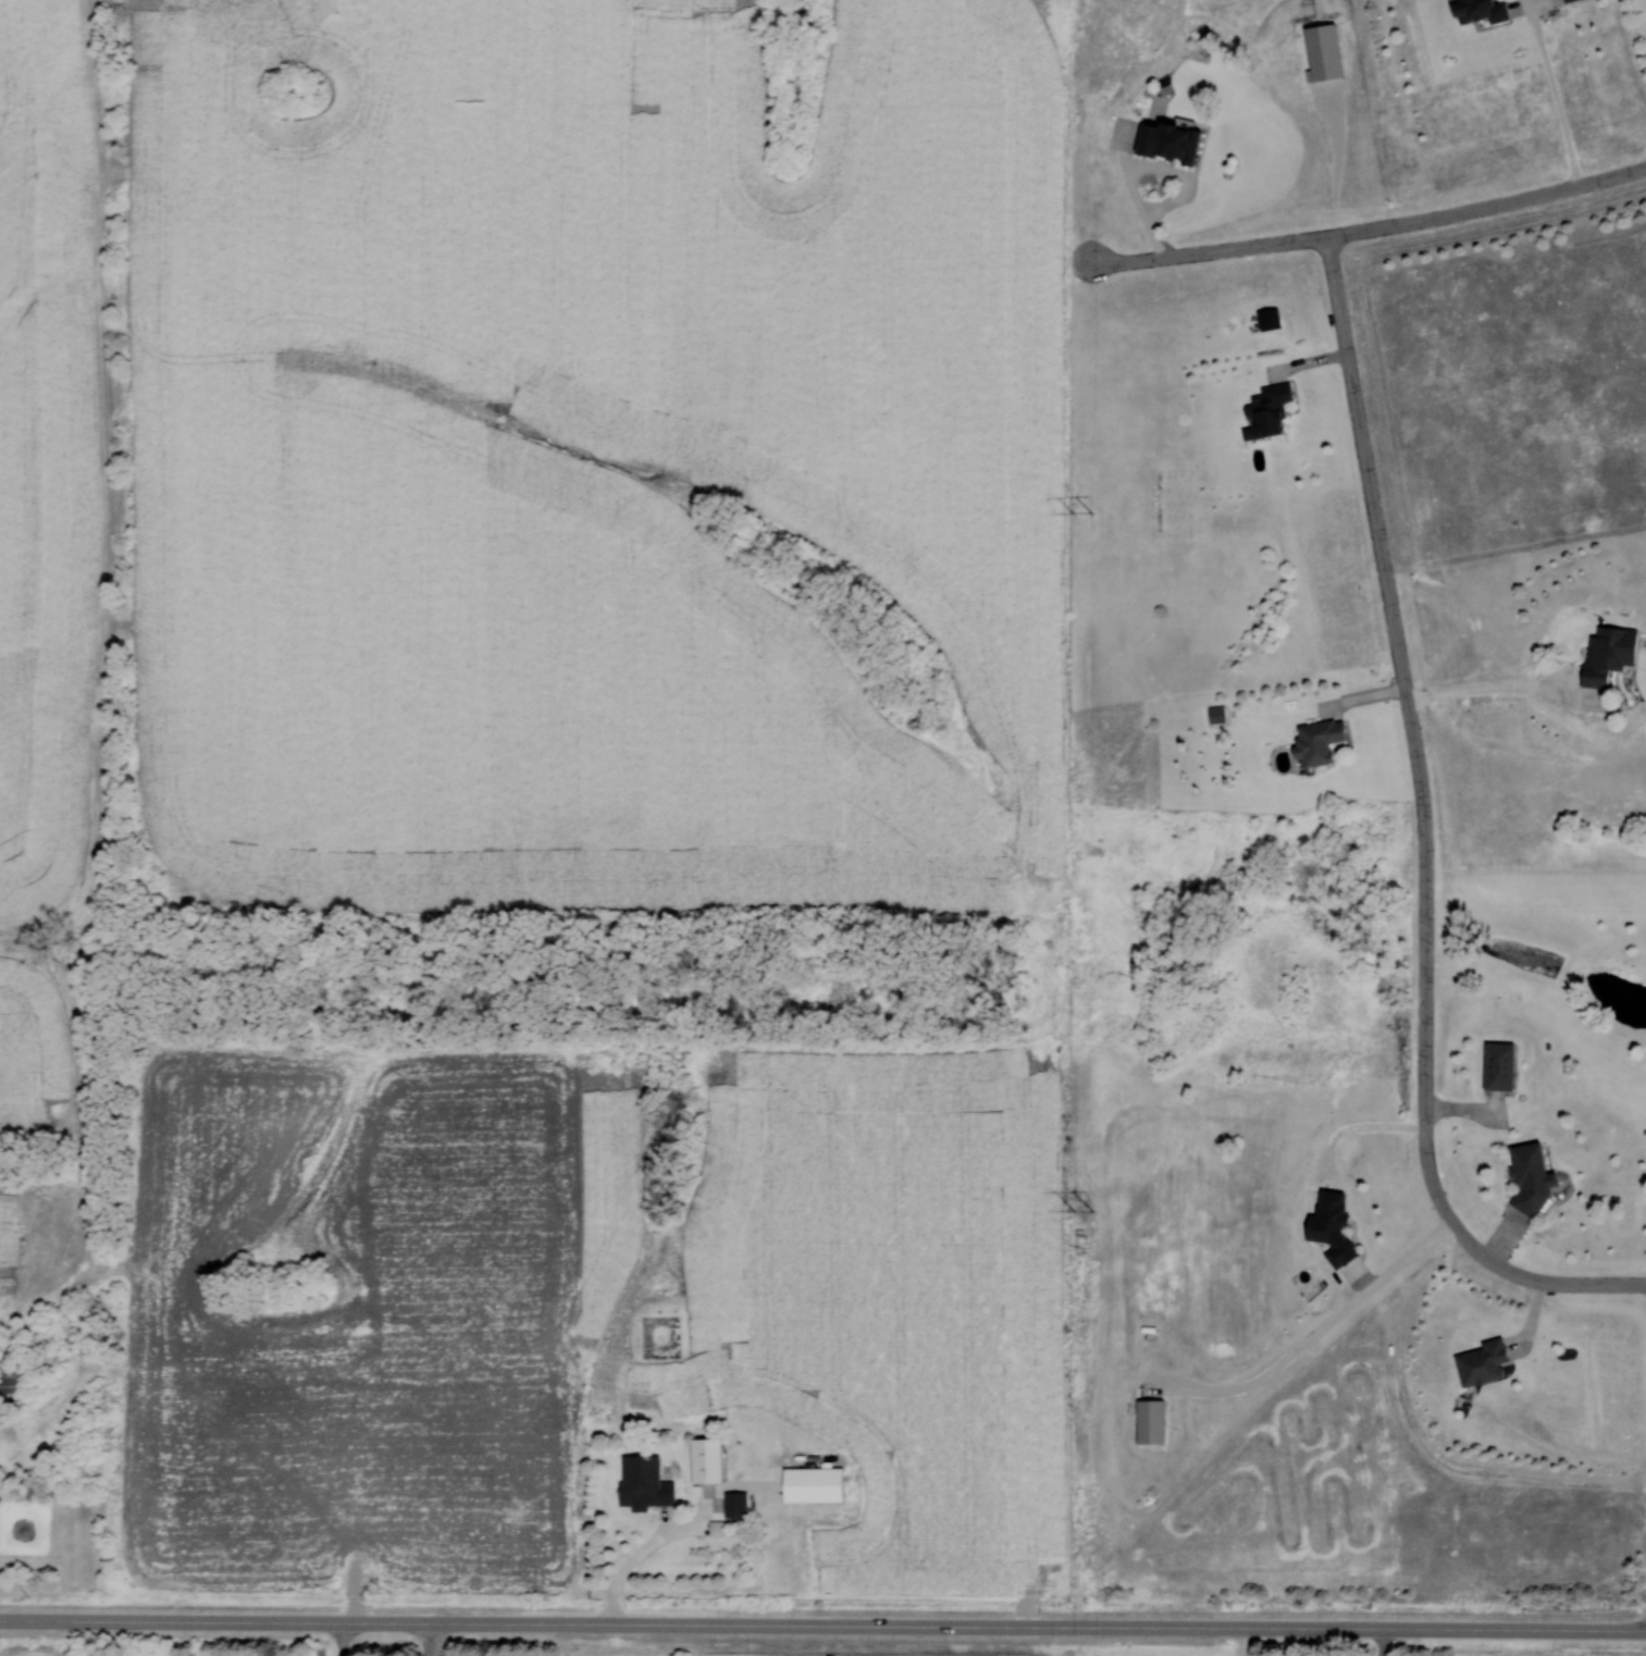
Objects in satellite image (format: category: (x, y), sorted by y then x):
building: (1562, 0)
building: (1475, 9)
road: (1558, 95)
building: (1162, 140)
road: (1367, 230)
building: (1262, 410)
power tower: (1079, 516)
building: (1605, 653)
road: (1505, 689)
building: (1213, 715)
building: (1313, 741)
road: (1423, 836)
building: (1494, 1066)
road: (1361, 1128)
building: (1525, 1176)
power tower: (1081, 1214)
building: (1326, 1228)
road: (1314, 1336)
building: (1476, 1362)
building: (15, 1381)
building: (1155, 1422)
building: (714, 1461)
building: (652, 1494)
building: (739, 1505)
road: (629, 1571)
road: (534, 1623)
road: (1357, 1628)
road: (1247, 1642)
road: (1385, 1642)

